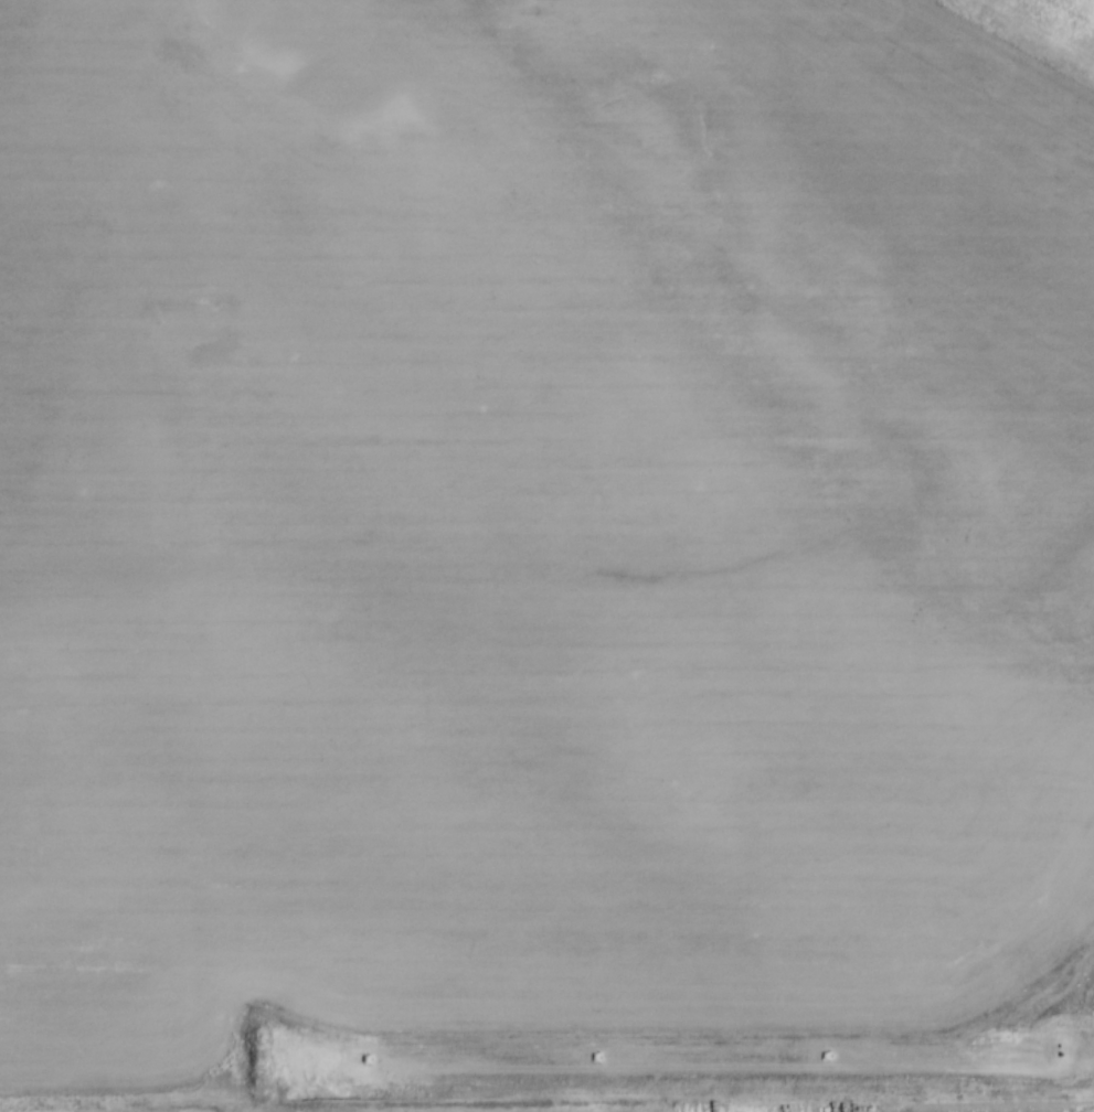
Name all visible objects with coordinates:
airport: (1058, 20)

